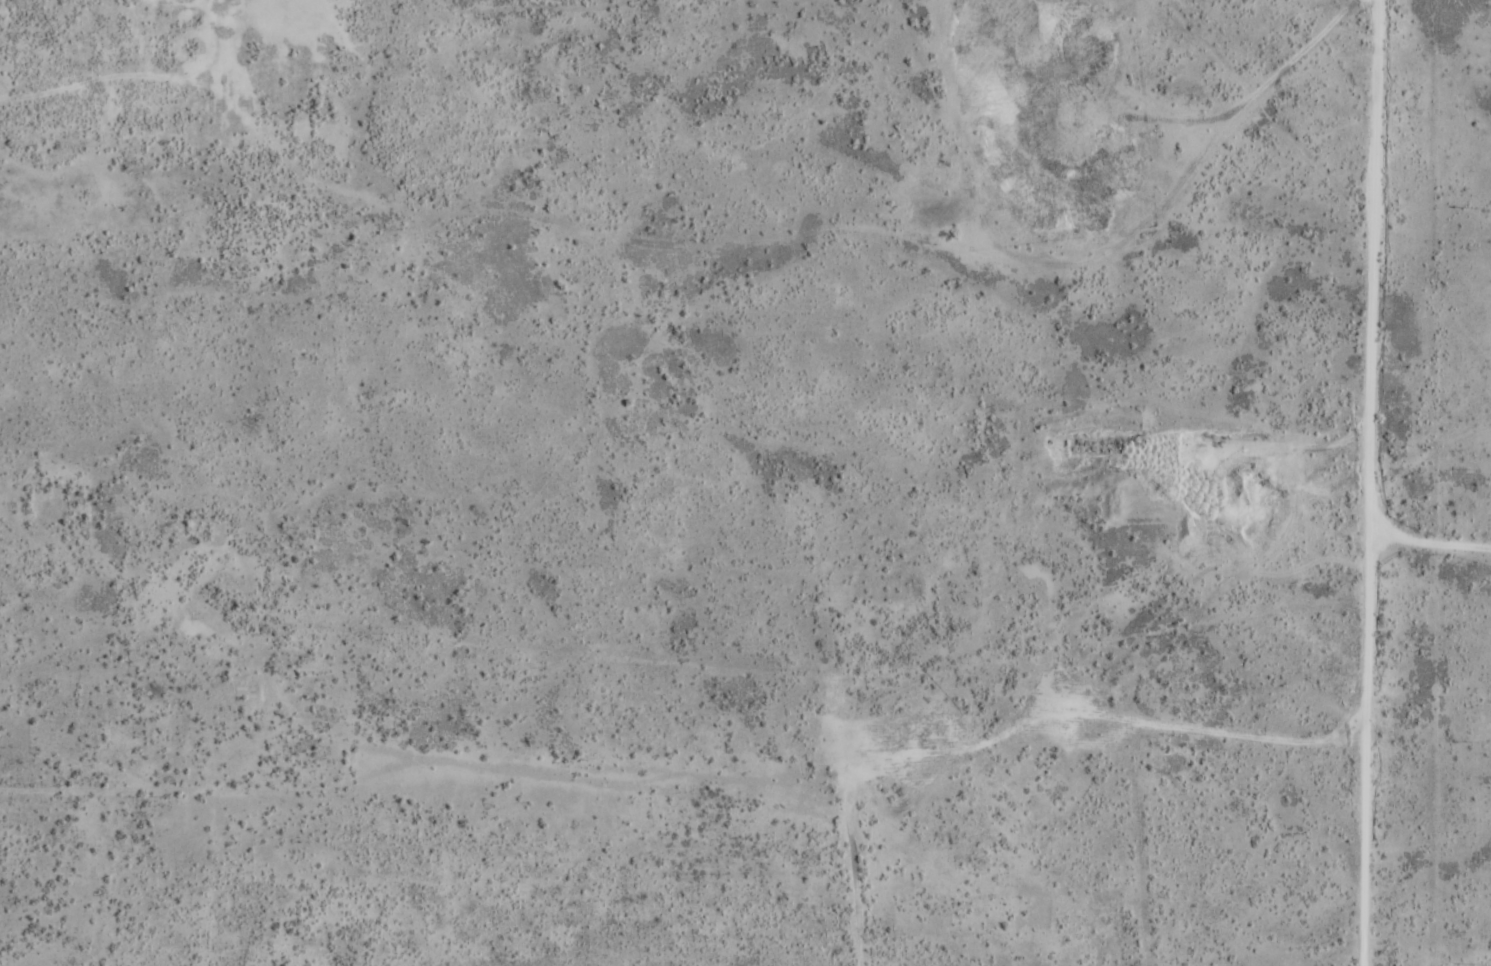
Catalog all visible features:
road: (1378, 12)

